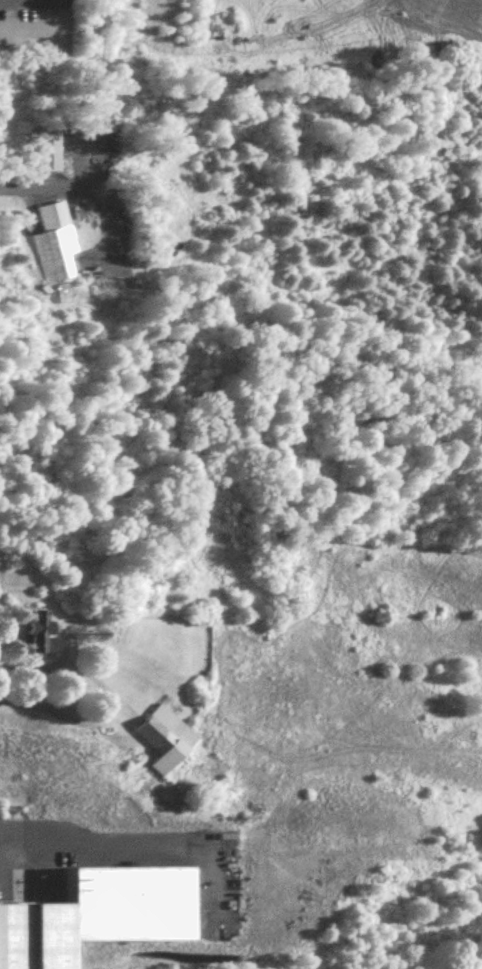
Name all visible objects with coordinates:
road: (27, 1)
building: (41, 153)
road: (74, 190)
building: (53, 247)
building: (26, 640)
road: (101, 704)
building: (161, 743)
road: (85, 840)

